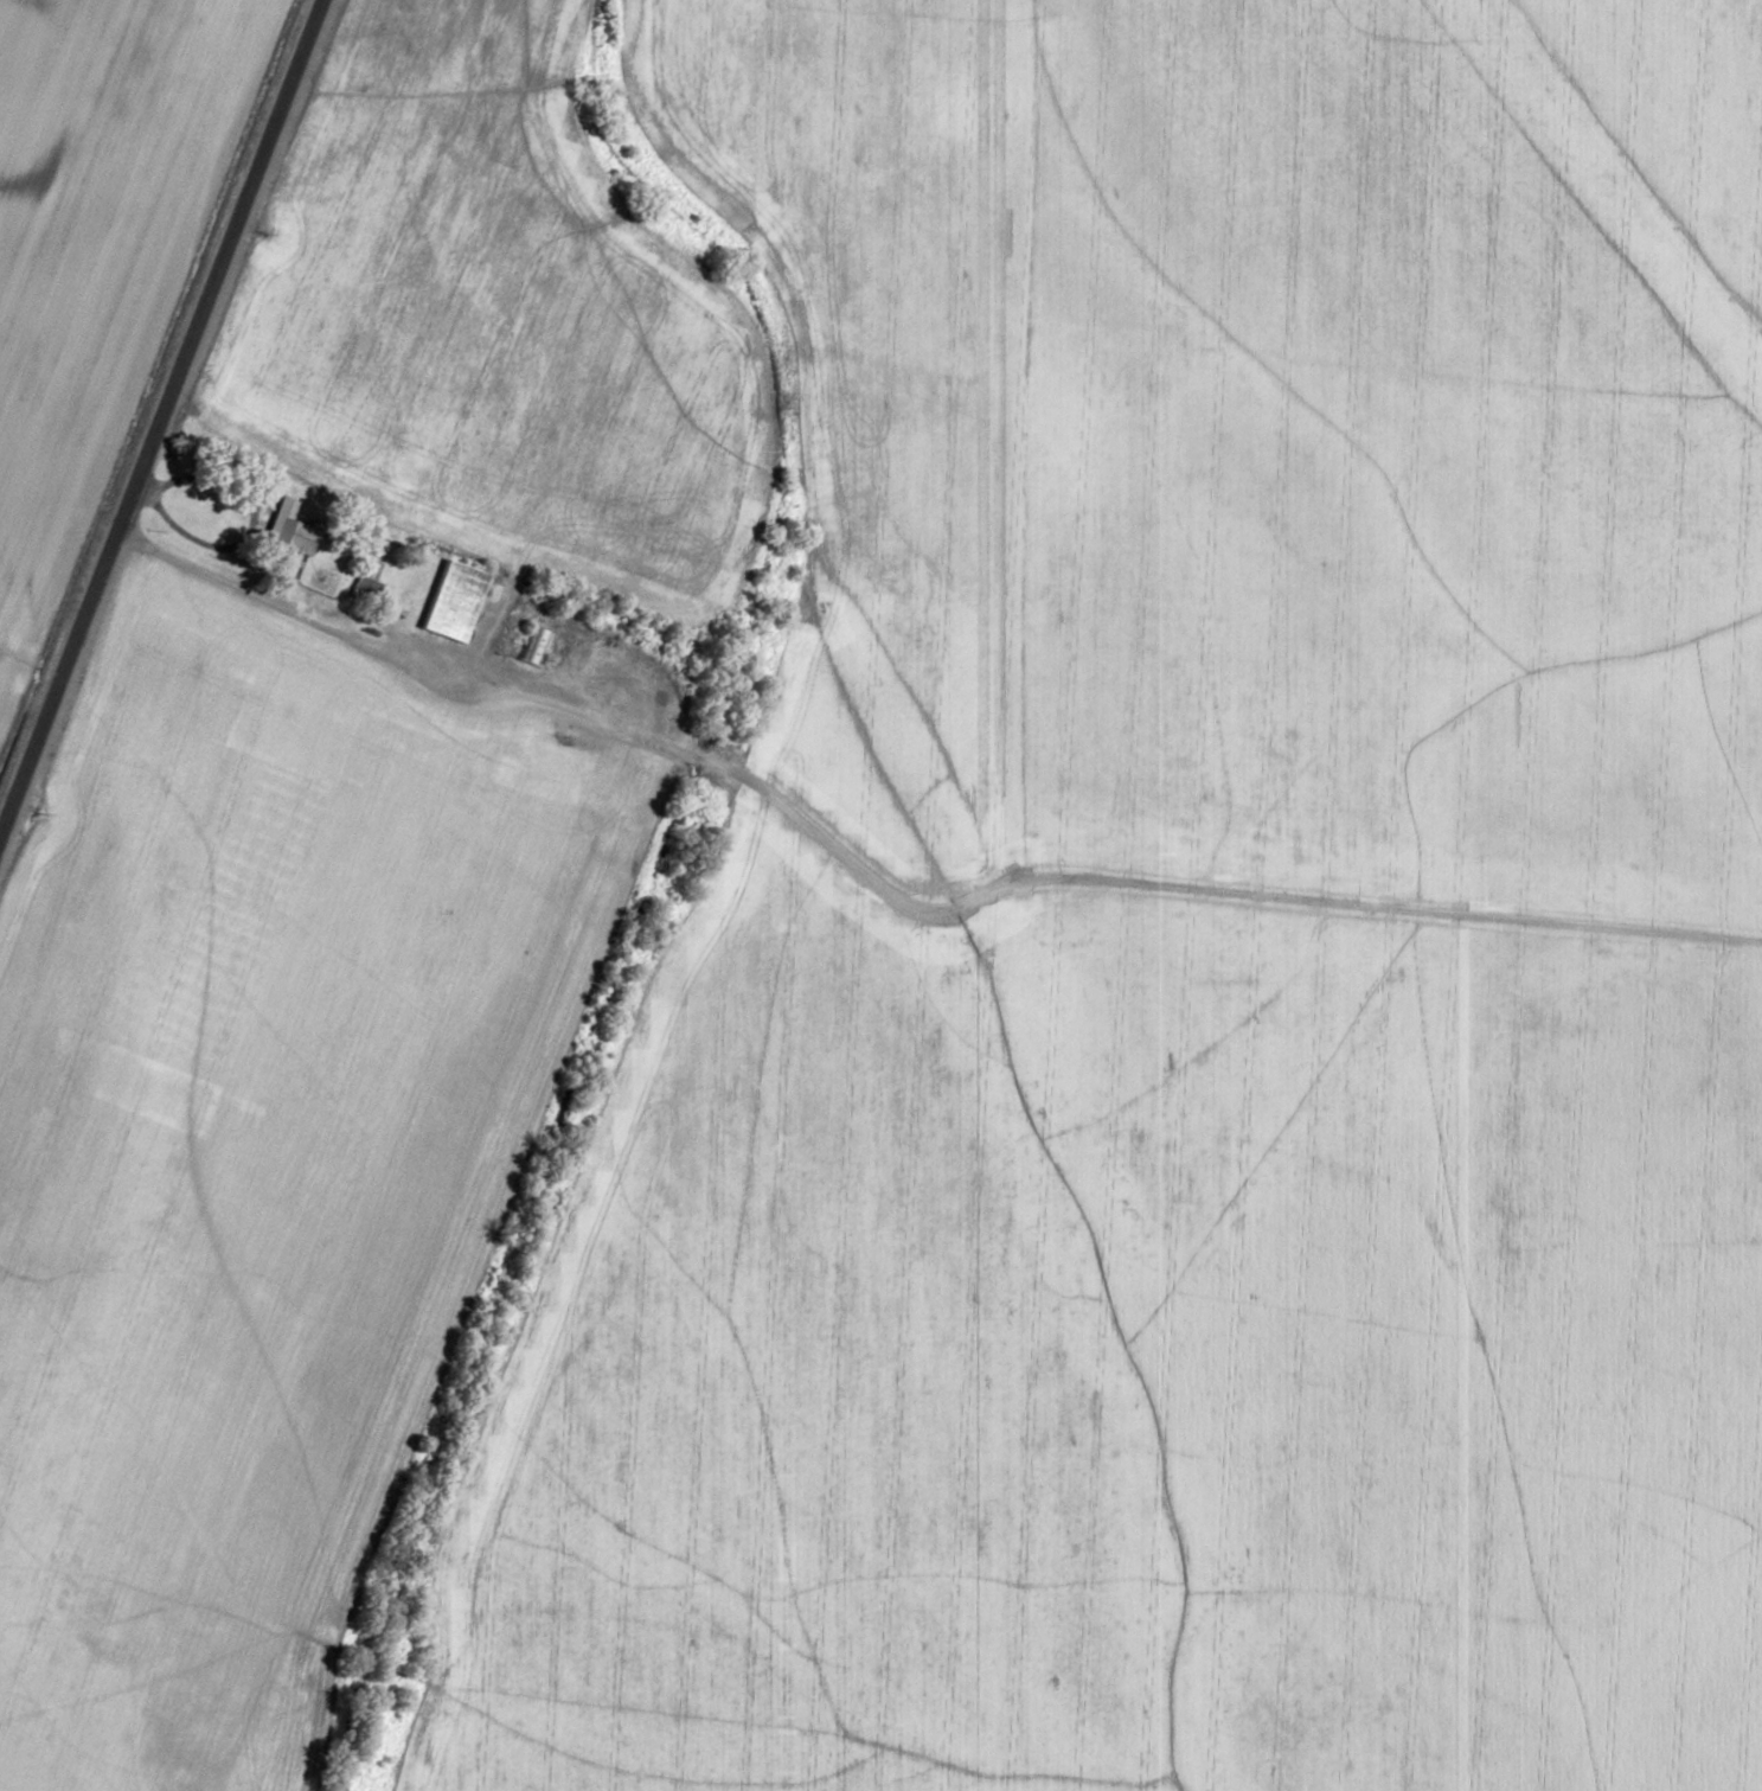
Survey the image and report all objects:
road: (160, 417)
building: (290, 535)
building: (319, 581)
building: (367, 589)
building: (533, 646)

